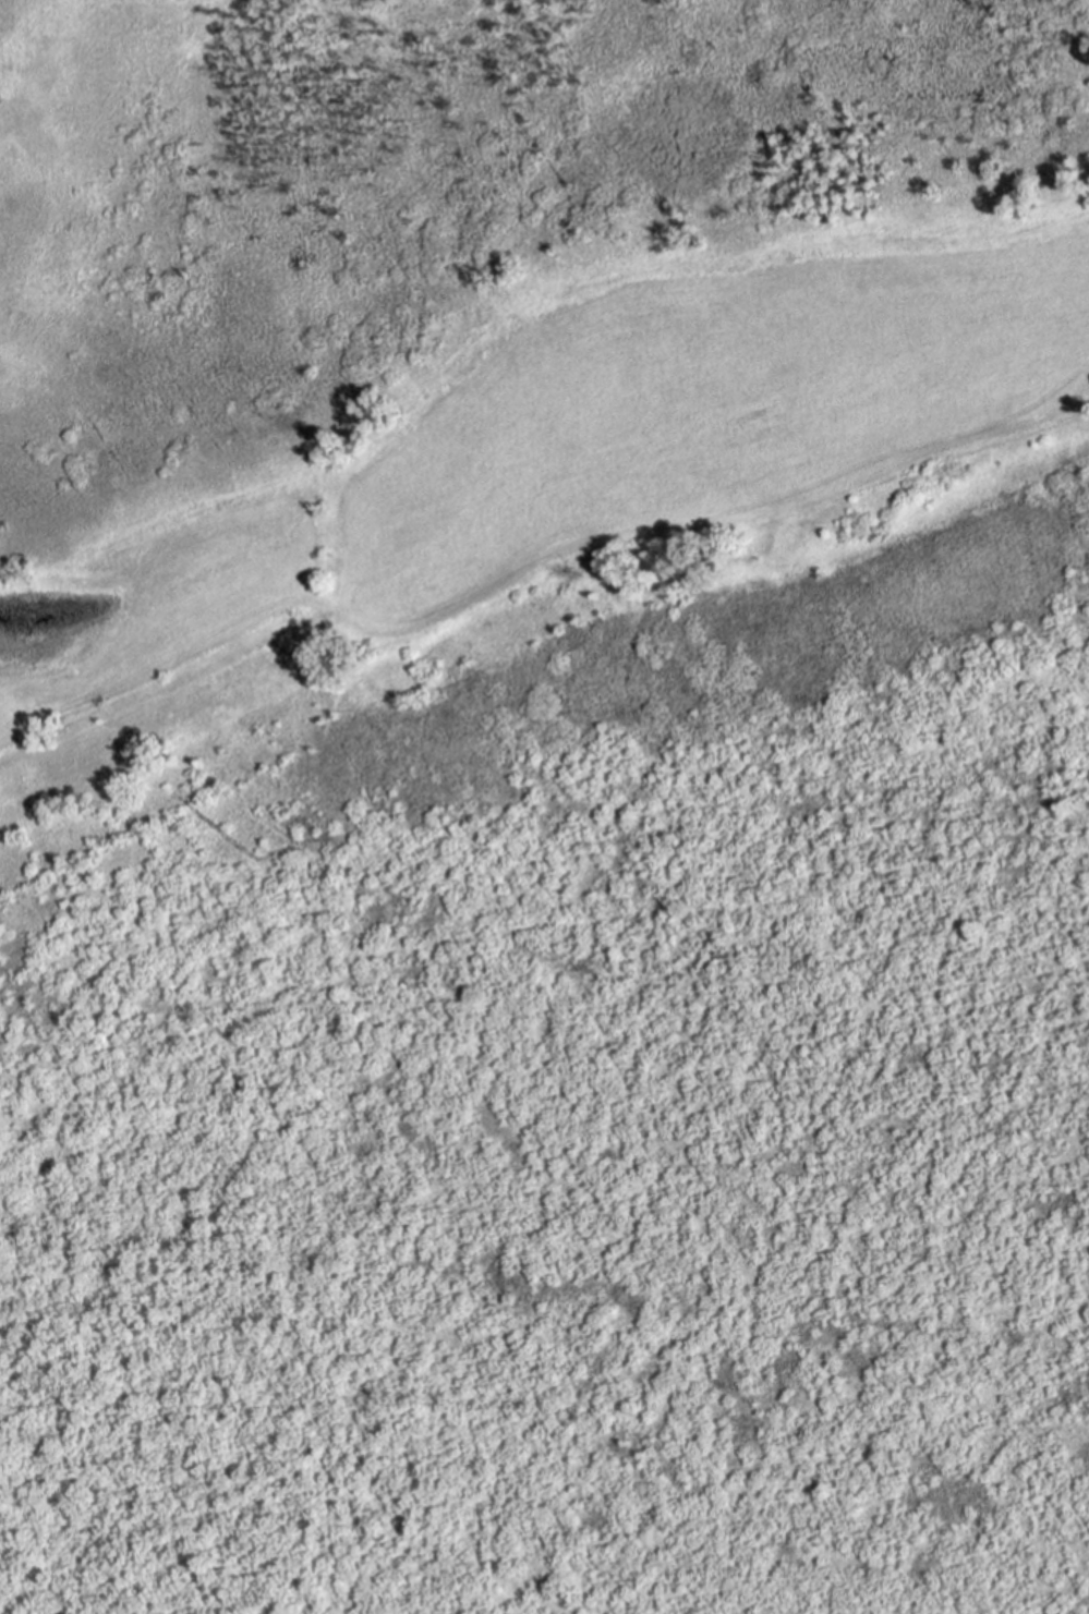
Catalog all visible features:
building: (412, 984)

